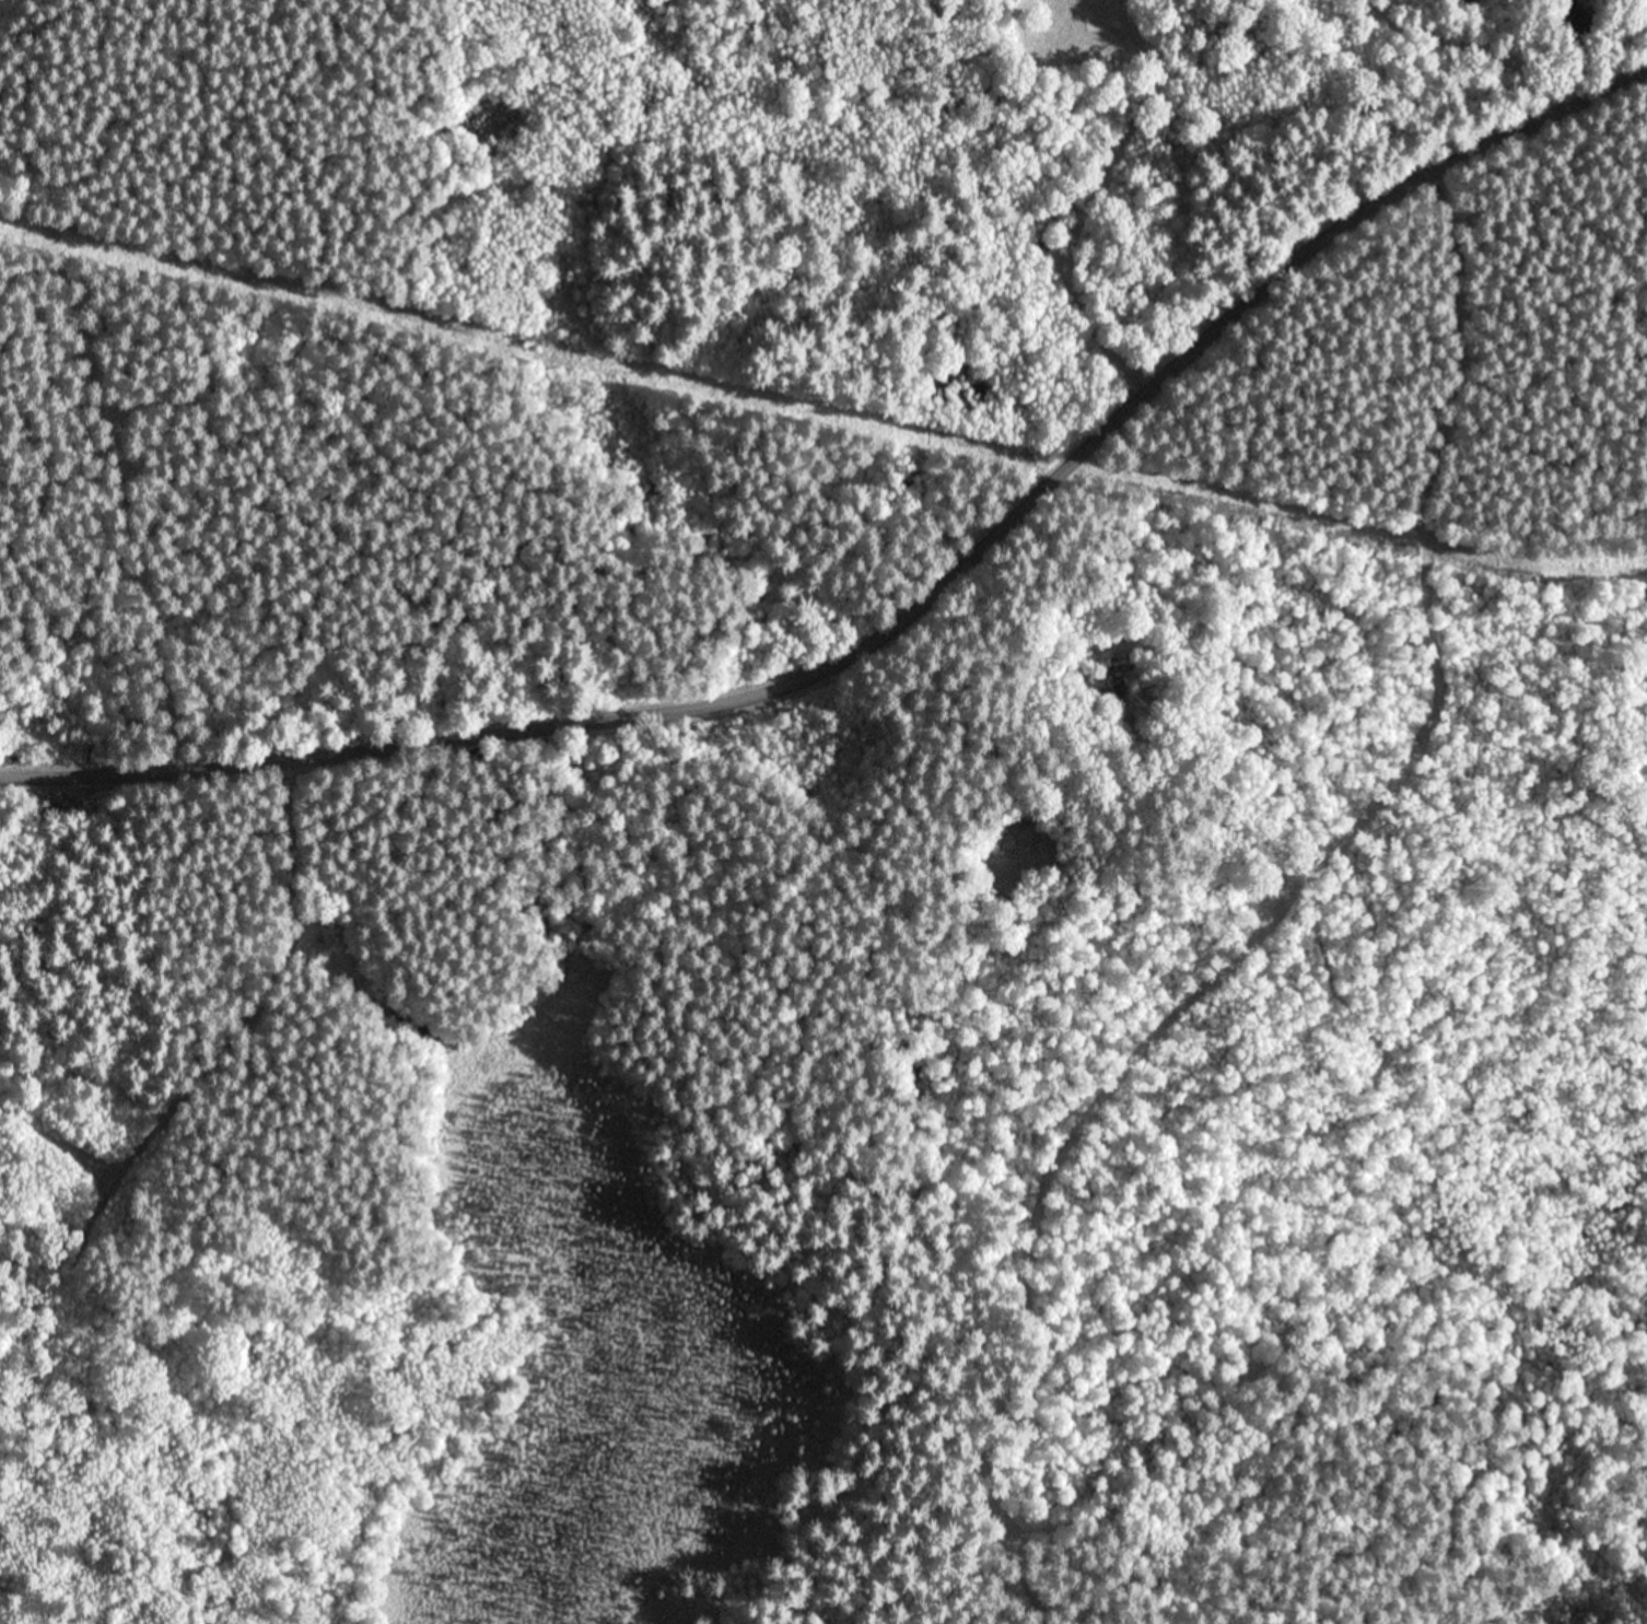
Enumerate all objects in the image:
road: (898, 609)

